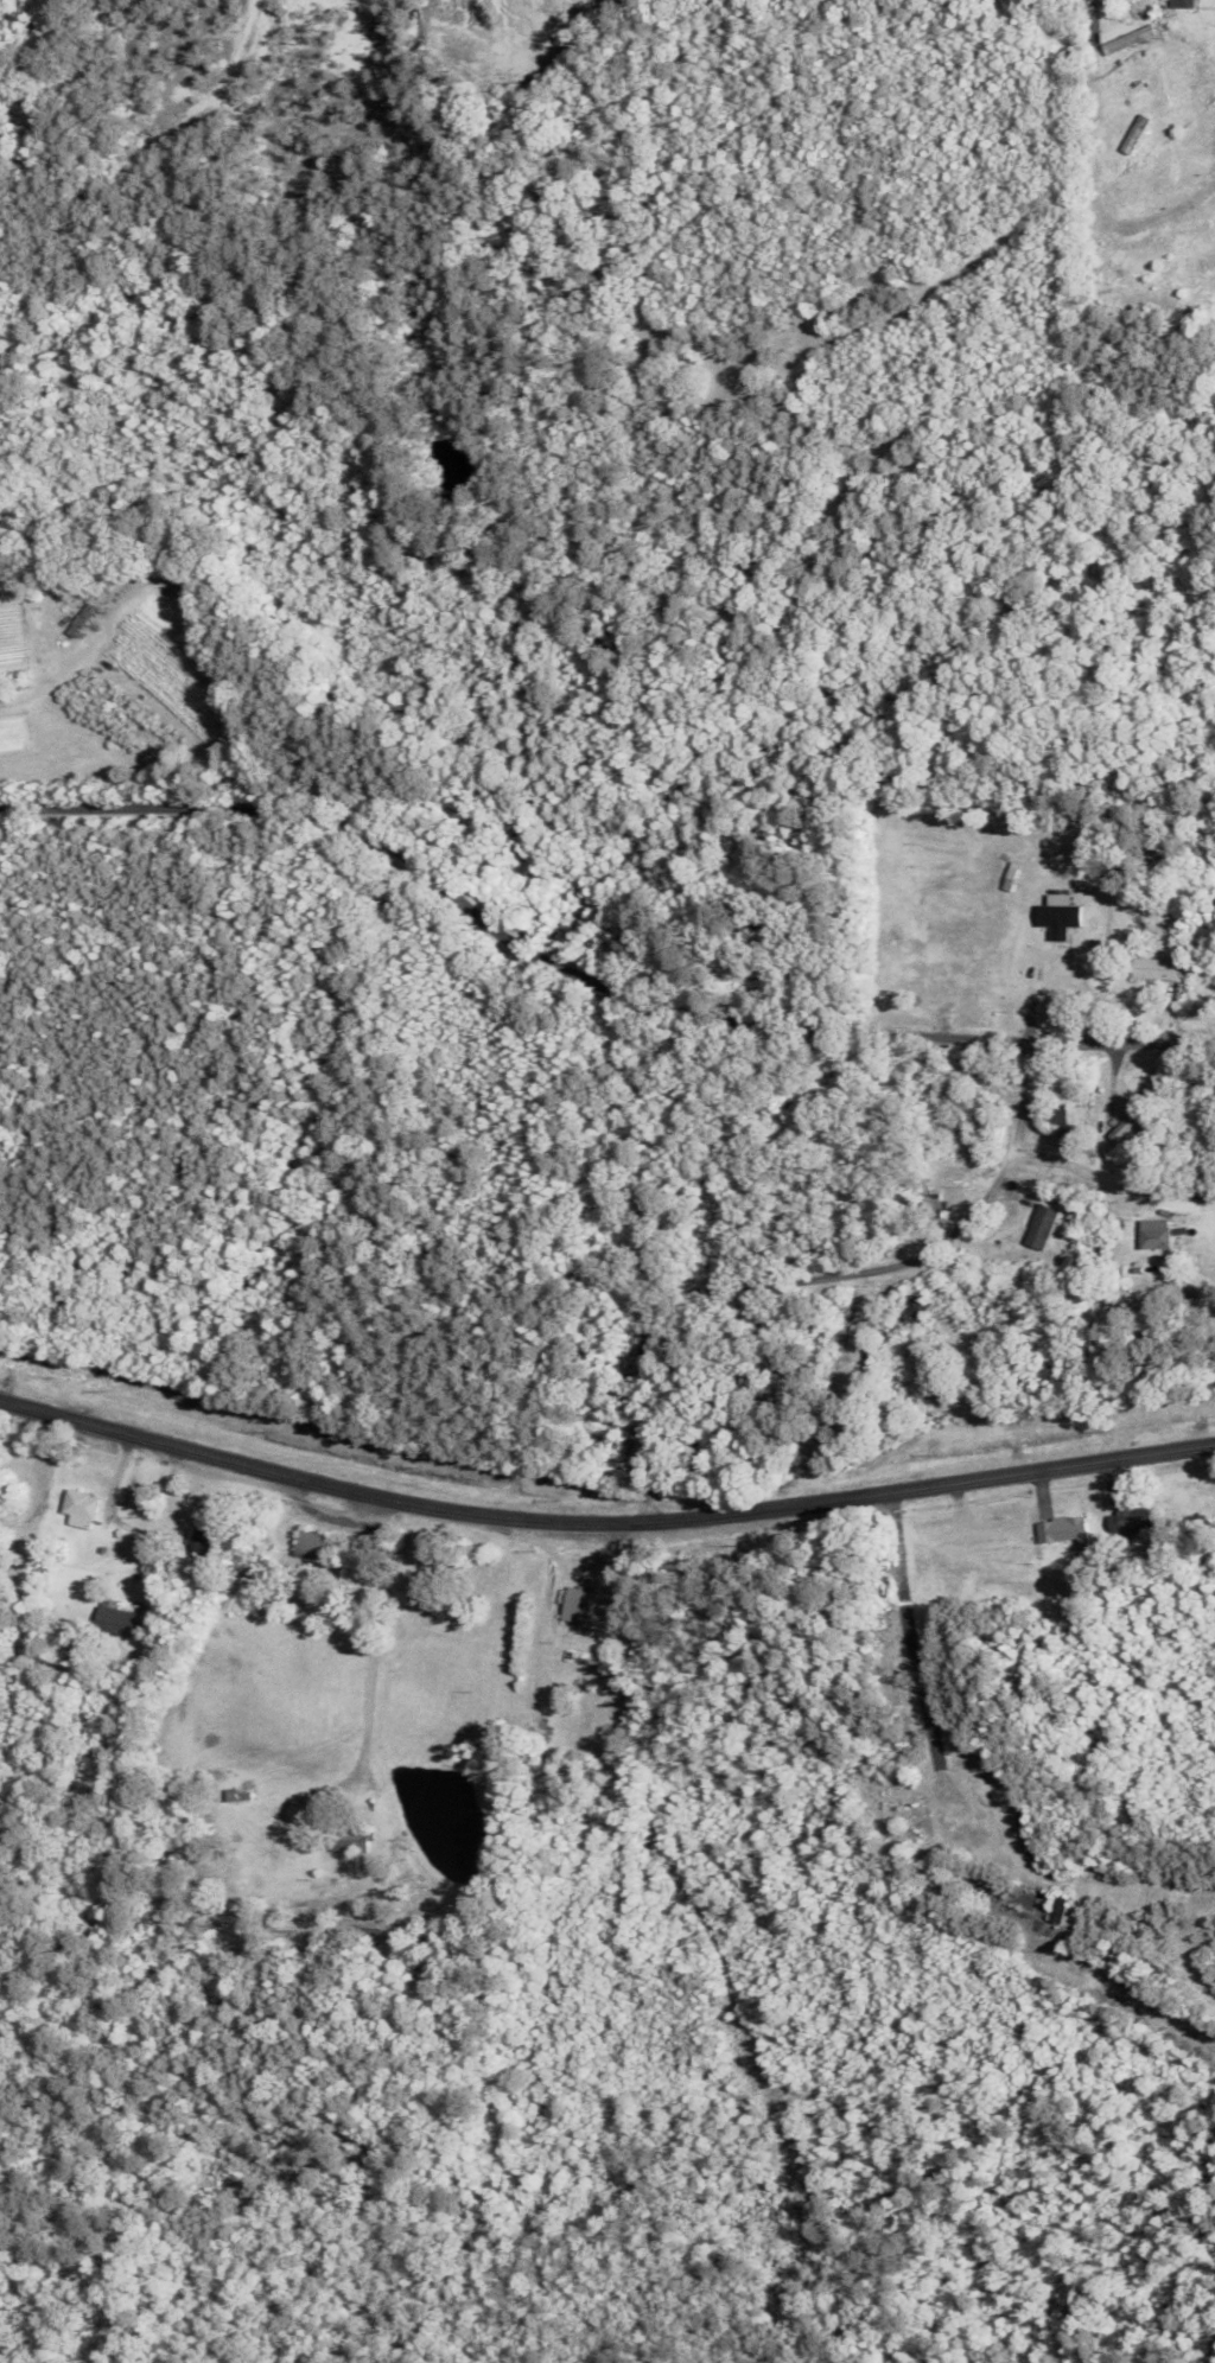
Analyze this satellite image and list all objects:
building: (1188, 5)
building: (1159, 970)
road: (585, 998)
building: (1058, 1115)
building: (955, 1178)
building: (1045, 1228)
building: (1163, 1236)
road: (806, 1293)
building: (922, 1310)
building: (83, 1510)
building: (1134, 1520)
road: (603, 1523)
building: (1067, 1531)
building: (211, 1544)
building: (317, 1546)
building: (581, 1606)
building: (119, 1623)
road: (911, 1631)
road: (373, 1670)
building: (579, 1771)
building: (925, 1816)
building: (265, 1841)
building: (354, 1842)

